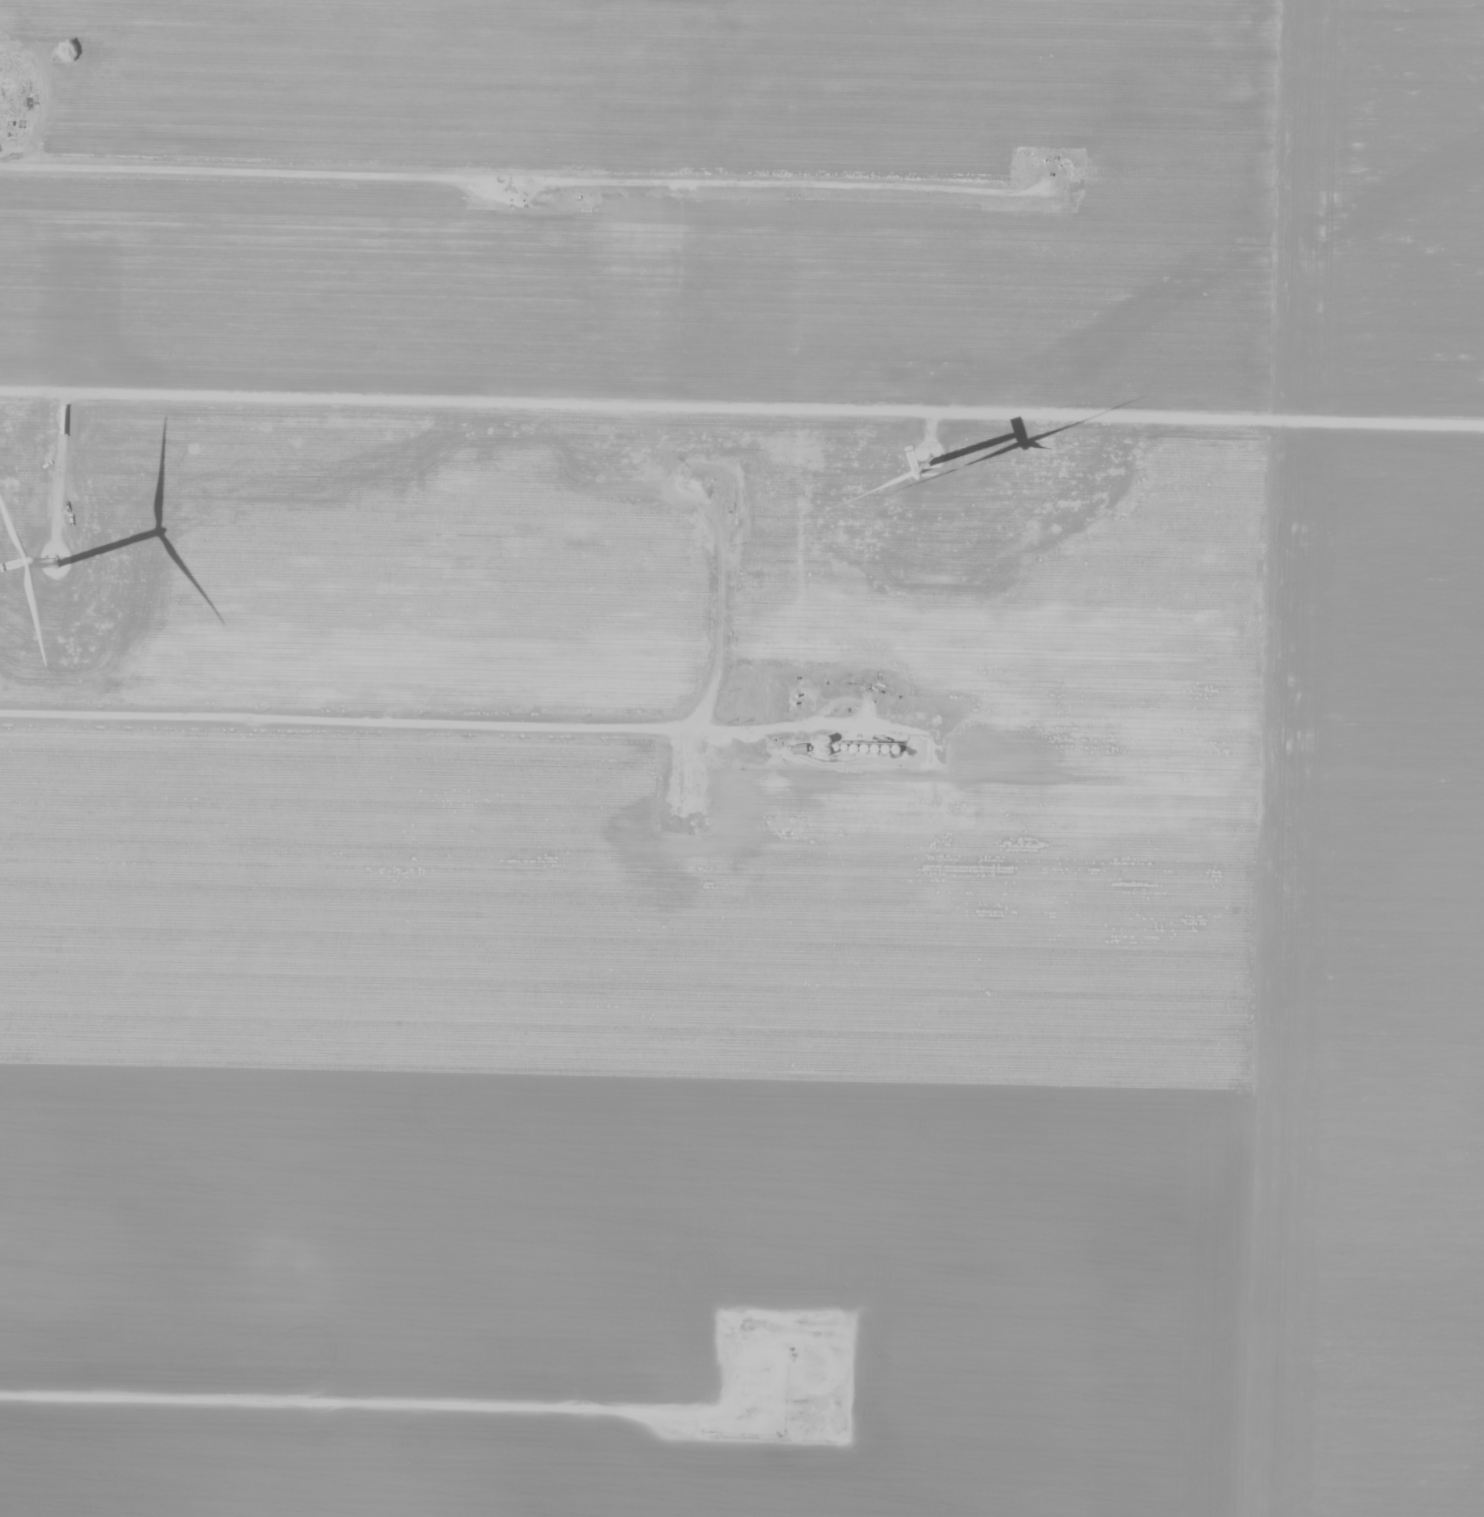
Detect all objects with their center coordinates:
road: (518, 176)
wind turbine: (918, 457)
wind turbine: (56, 552)
road: (467, 723)
road: (464, 1409)

